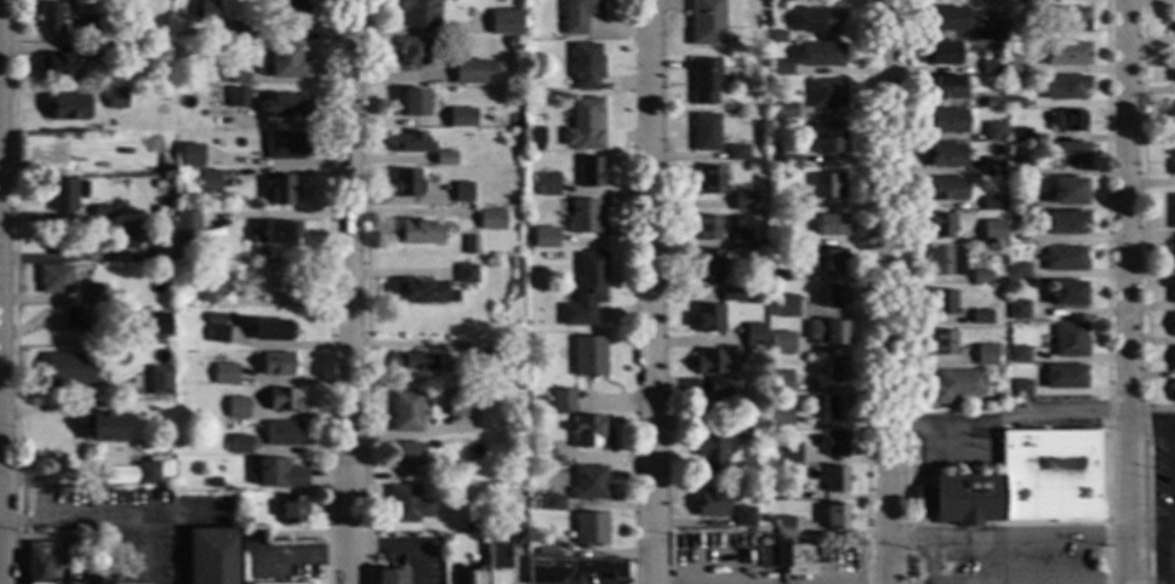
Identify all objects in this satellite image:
building: (1036, 1)
building: (205, 10)
building: (417, 12)
building: (292, 15)
building: (576, 15)
building: (49, 18)
building: (941, 18)
building: (1060, 19)
building: (817, 21)
building: (1173, 22)
building: (501, 23)
building: (705, 23)
building: (92, 28)
building: (221, 30)
building: (243, 32)
building: (994, 33)
building: (114, 38)
building: (775, 38)
building: (989, 47)
building: (411, 51)
building: (101, 52)
building: (940, 53)
building: (1065, 53)
building: (818, 55)
building: (994, 56)
building: (285, 62)
building: (1013, 65)
building: (584, 67)
building: (989, 67)
building: (58, 68)
building: (494, 68)
building: (467, 71)
building: (774, 71)
building: (1171, 74)
building: (238, 75)
building: (530, 81)
building: (703, 81)
building: (942, 87)
building: (1065, 87)
building: (825, 95)
building: (164, 96)
building: (238, 98)
building: (116, 99)
building: (411, 103)
building: (991, 103)
building: (1013, 103)
building: (285, 107)
building: (67, 108)
building: (783, 110)
building: (1171, 115)
building: (460, 118)
building: (943, 121)
building: (1066, 121)
building: (583, 125)
building: (703, 132)
building: (993, 132)
building: (1019, 134)
building: (826, 137)
building: (532, 138)
building: (238, 143)
building: (410, 143)
building: (285, 145)
building: (735, 153)
building: (1066, 154)
building: (153, 155)
building: (942, 155)
building: (190, 156)
building: (786, 156)
building: (444, 159)
building: (1015, 166)
building: (991, 167)
building: (1173, 167)
building: (588, 172)
building: (506, 176)
building: (209, 181)
building: (707, 181)
building: (405, 184)
building: (547, 185)
building: (825, 185)
building: (942, 189)
building: (1013, 189)
building: (280, 190)
building: (1067, 191)
building: (462, 193)
building: (179, 194)
building: (61, 195)
building: (741, 202)
building: (788, 204)
building: (991, 204)
building: (160, 211)
building: (1173, 211)
building: (102, 213)
building: (583, 217)
building: (1013, 217)
building: (490, 221)
building: (1065, 223)
building: (187, 225)
building: (828, 225)
building: (939, 227)
building: (705, 228)
building: (992, 231)
building: (417, 233)
building: (274, 234)
building: (135, 237)
building: (737, 239)
building: (782, 239)
building: (551, 240)
building: (469, 246)
building: (160, 251)
building: (1173, 258)
building: (1063, 259)
building: (832, 260)
building: (945, 260)
building: (709, 264)
road: (885, 268)
building: (1017, 270)
building: (466, 275)
building: (776, 276)
building: (980, 277)
building: (53, 280)
building: (273, 282)
road: (346, 291)
building: (584, 291)
road: (648, 291)
road: (364, 292)
building: (426, 292)
road: (867, 292)
road: (903, 292)
road: (1106, 292)
road: (1129, 292)
road: (1142, 292)
building: (1173, 292)
building: (93, 294)
building: (728, 294)
building: (1067, 294)
building: (216, 297)
building: (832, 297)
building: (941, 303)
building: (783, 307)
building: (1017, 310)
building: (75, 317)
building: (498, 317)
building: (980, 317)
building: (706, 319)
building: (146, 325)
building: (1174, 325)
building: (270, 330)
building: (203, 333)
building: (217, 333)
building: (825, 333)
building: (752, 334)
building: (1070, 340)
building: (781, 343)
building: (942, 343)
building: (1019, 354)
building: (985, 355)
building: (587, 357)
building: (205, 359)
building: (494, 359)
building: (1174, 360)
building: (415, 362)
building: (276, 365)
building: (99, 368)
building: (833, 370)
building: (67, 371)
building: (712, 372)
building: (226, 374)
building: (1065, 377)
building: (159, 380)
building: (778, 380)
building: (954, 385)
building: (1020, 388)
building: (1174, 390)
building: (284, 401)
building: (561, 401)
building: (461, 405)
building: (989, 406)
building: (236, 407)
building: (831, 407)
building: (406, 412)
building: (780, 416)
road: (1006, 418)
building: (509, 423)
building: (104, 428)
building: (132, 428)
building: (736, 429)
building: (509, 431)
building: (586, 431)
building: (149, 434)
building: (281, 434)
building: (834, 443)
building: (239, 445)
road: (1173, 448)
building: (708, 451)
building: (538, 452)
building: (787, 453)
building: (407, 454)
building: (441, 457)
road: (929, 459)
building: (146, 474)
building: (279, 474)
building: (834, 479)
building: (213, 482)
building: (1022, 482)
building: (587, 483)
building: (783, 491)
building: (747, 494)
road: (926, 499)
parking lot: (1162, 502)
building: (709, 503)
building: (552, 504)
building: (406, 505)
building: (292, 509)
road: (112, 514)
road: (1125, 516)
building: (834, 517)
building: (244, 519)
building: (472, 519)
building: (741, 520)
road: (926, 523)
road: (1005, 523)
building: (782, 527)
building: (587, 529)
road: (0, 537)
road: (1029, 537)
road: (1153, 537)
road: (907, 538)
building: (103, 544)
road: (964, 544)
road: (400, 545)
building: (456, 545)
road: (141, 546)
building: (496, 546)
building: (540, 550)
building: (211, 556)
parking lot: (1006, 557)
building: (785, 559)
road: (1159, 559)
road: (886, 561)
building: (36, 562)
building: (569, 569)
road: (626, 574)
building: (389, 577)
building: (475, 577)
building: (95, 580)
road: (1153, 580)
road: (1006, 582)
road: (785, 583)

